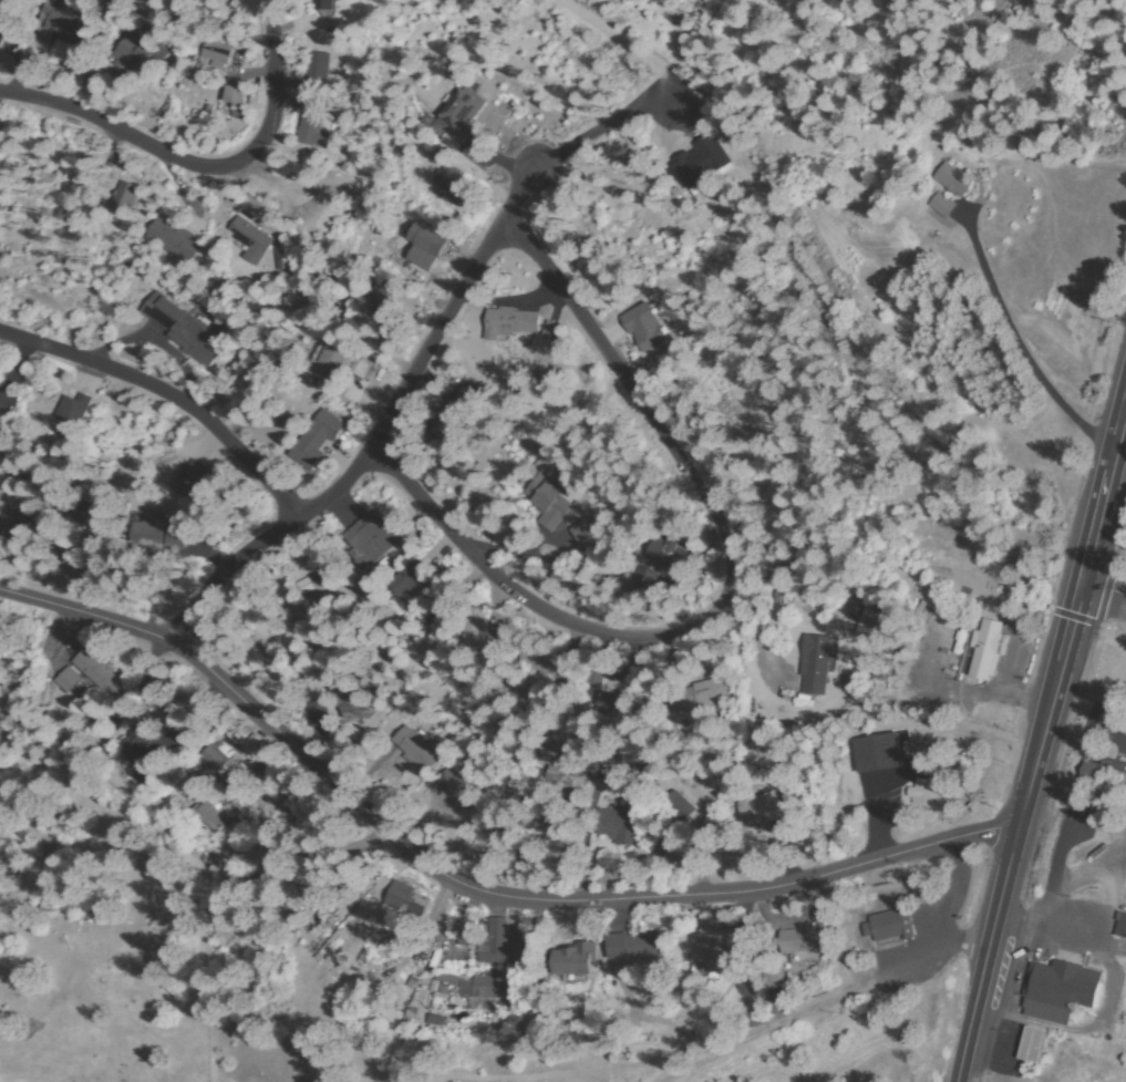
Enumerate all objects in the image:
building: (322, 2)
building: (7, 3)
building: (69, 27)
building: (0, 39)
building: (218, 54)
building: (138, 55)
building: (318, 72)
building: (237, 95)
building: (458, 117)
building: (312, 124)
road: (199, 167)
building: (691, 178)
building: (954, 179)
building: (453, 184)
building: (125, 198)
building: (943, 206)
building: (248, 237)
building: (174, 241)
building: (425, 246)
road: (814, 285)
building: (385, 307)
building: (513, 322)
building: (645, 326)
building: (182, 328)
building: (545, 337)
road: (1014, 344)
building: (331, 359)
road: (168, 396)
building: (467, 399)
building: (73, 412)
building: (446, 423)
road: (385, 426)
building: (317, 439)
building: (198, 484)
building: (18, 497)
building: (548, 501)
building: (93, 518)
building: (11, 525)
building: (587, 534)
building: (148, 535)
building: (180, 539)
building: (371, 540)
building: (670, 556)
building: (569, 580)
building: (414, 585)
building: (642, 586)
road: (1104, 591)
road: (727, 594)
building: (478, 633)
building: (985, 651)
building: (546, 663)
building: (814, 664)
building: (97, 672)
building: (595, 679)
building: (68, 680)
building: (698, 697)
building: (353, 705)
building: (617, 705)
road: (1041, 744)
building: (415, 750)
building: (141, 754)
building: (215, 758)
building: (578, 770)
building: (1092, 773)
building: (551, 784)
building: (459, 787)
building: (929, 793)
building: (679, 807)
building: (761, 811)
building: (209, 816)
building: (620, 822)
building: (665, 848)
road: (467, 885)
building: (407, 900)
building: (888, 925)
building: (1120, 926)
building: (462, 939)
building: (495, 940)
building: (730, 940)
building: (799, 940)
building: (633, 946)
building: (706, 950)
building: (575, 961)
building: (771, 979)
building: (477, 988)
building: (1057, 990)
road: (834, 1003)
building: (1030, 1044)

